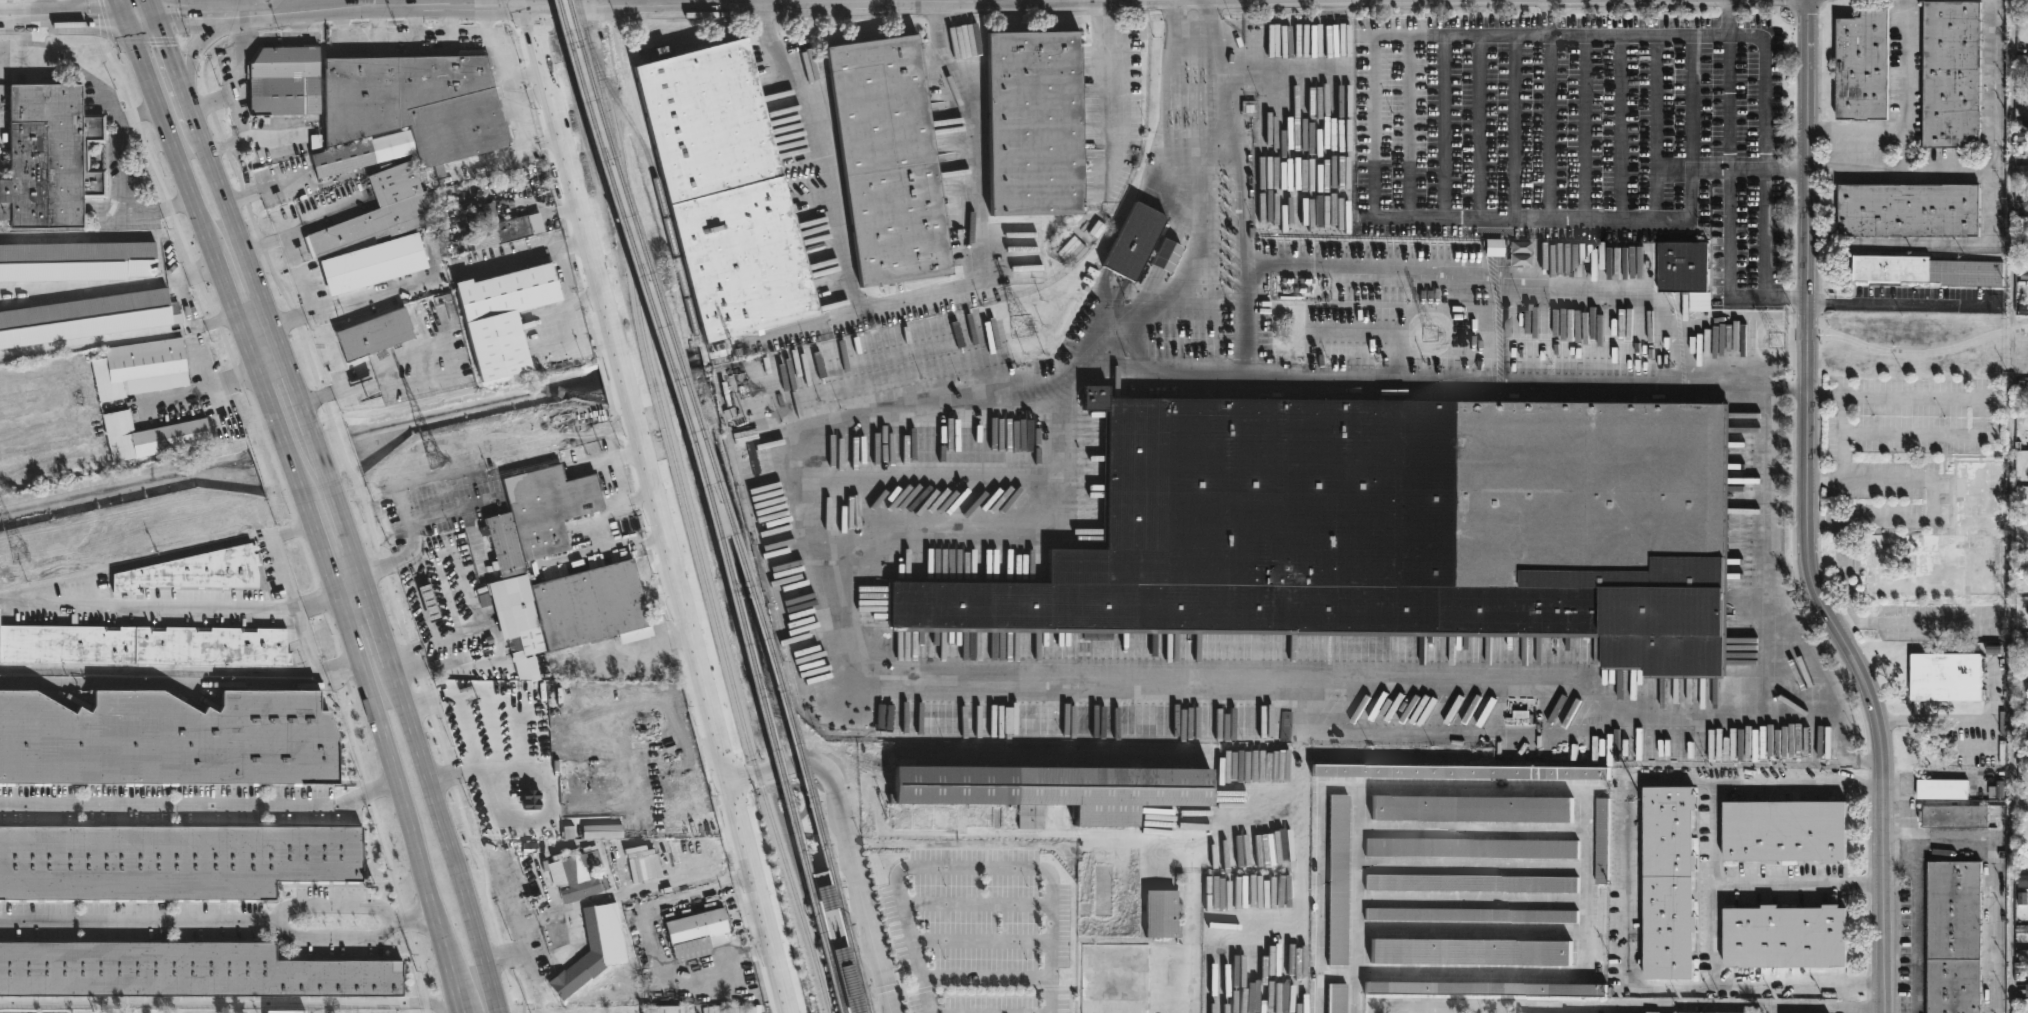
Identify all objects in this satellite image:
road: (756, 1)
road: (1826, 1)
road: (533, 2)
road: (219, 5)
traffic signals: (534, 5)
road: (418, 6)
road: (46, 7)
road: (76, 7)
road: (120, 7)
road: (150, 7)
road: (298, 9)
road: (223, 10)
traffic signals: (178, 13)
road: (76, 15)
traffic signals: (97, 15)
road: (1545, 16)
road: (105, 20)
road: (173, 20)
road: (487, 27)
road: (377, 28)
road: (452, 28)
road: (415, 29)
road: (214, 30)
road: (341, 30)
road: (145, 40)
traffic signals: (167, 48)
road: (190, 50)
road: (174, 65)
building: (1861, 65)
road: (524, 72)
building: (1954, 73)
road: (236, 79)
building: (282, 81)
road: (1114, 81)
road: (1763, 85)
road: (530, 99)
road: (1690, 100)
road: (1728, 100)
road: (212, 101)
building: (406, 111)
road: (1906, 112)
road: (160, 114)
road: (140, 115)
building: (1033, 123)
road: (1480, 125)
road: (1515, 125)
road: (1549, 125)
road: (1584, 125)
road: (1620, 125)
road: (1655, 125)
road: (1375, 126)
road: (1408, 126)
road: (1443, 126)
road: (121, 130)
road: (276, 135)
parking lot: (1567, 135)
road: (227, 143)
road: (1907, 146)
road: (521, 150)
building: (47, 156)
building: (887, 160)
road: (1899, 165)
road: (1673, 167)
road: (1820, 167)
road: (1344, 177)
road: (266, 189)
building: (723, 190)
building: (1910, 209)
road: (1988, 210)
building: (378, 212)
road: (1202, 212)
road: (231, 222)
building: (499, 229)
road: (1763, 231)
road: (180, 234)
road: (258, 239)
building: (1132, 244)
building: (1494, 247)
building: (1519, 253)
road: (295, 254)
building: (75, 261)
building: (379, 262)
road: (1728, 269)
building: (1928, 270)
building: (1685, 271)
road: (220, 276)
road: (562, 276)
road: (412, 285)
building: (1285, 290)
road: (589, 298)
road: (901, 299)
road: (186, 302)
road: (1898, 303)
building: (500, 316)
building: (86, 317)
road: (809, 322)
power tower: (1020, 328)
road: (256, 332)
building: (372, 334)
power tower: (1431, 335)
power tower: (1778, 341)
road: (556, 345)
road: (276, 347)
road: (1919, 353)
road: (250, 356)
building: (137, 368)
road: (270, 371)
railway: (656, 381)
road: (196, 390)
road: (1779, 390)
road: (635, 392)
power tower: (746, 392)
road: (293, 394)
road: (265, 399)
road: (1847, 422)
road: (305, 428)
building: (148, 437)
railway: (699, 438)
road: (337, 443)
road: (286, 452)
road: (316, 456)
power tower: (435, 461)
road: (273, 463)
road: (1819, 483)
road: (1930, 488)
railway: (706, 504)
road: (2011, 506)
road: (669, 507)
road: (1810, 514)
road: (1825, 520)
building: (533, 526)
building: (1390, 528)
road: (343, 531)
road: (291, 535)
road: (315, 538)
building: (1944, 546)
power tower: (19, 554)
road: (128, 564)
building: (193, 572)
road: (1843, 572)
road: (348, 590)
building: (448, 597)
gas station: (448, 597)
building: (430, 603)
gas station: (430, 603)
building: (590, 607)
road: (1914, 622)
road: (495, 641)
road: (380, 646)
road: (646, 646)
building: (143, 647)
building: (527, 649)
road: (405, 656)
road: (410, 672)
building: (1948, 678)
road: (182, 685)
road: (1571, 694)
road: (1841, 713)
road: (433, 718)
road: (1933, 720)
building: (169, 742)
road: (357, 754)
road: (383, 754)
building: (1461, 773)
railway: (758, 779)
building: (1942, 789)
building: (1053, 793)
road: (1905, 797)
road: (198, 808)
building: (1472, 809)
building: (1954, 816)
road: (1906, 831)
building: (1788, 833)
road: (846, 847)
building: (1471, 847)
road: (1949, 848)
road: (450, 859)
building: (170, 861)
railway: (819, 867)
road: (971, 868)
railway: (819, 869)
building: (578, 874)
building: (1337, 879)
road: (1800, 881)
building: (1470, 882)
building: (1602, 882)
building: (1671, 882)
road: (1713, 884)
road: (1625, 889)
road: (763, 897)
railway: (798, 905)
road: (977, 905)
building: (1160, 912)
building: (1471, 914)
building: (1106, 915)
road: (411, 917)
road: (138, 921)
road: (277, 922)
parking lot: (979, 931)
building: (696, 932)
building: (1788, 935)
building: (1956, 936)
road: (981, 942)
railway: (847, 945)
building: (1471, 950)
building: (590, 951)
road: (448, 963)
building: (182, 970)
building: (1114, 978)
road: (986, 979)
road: (1169, 987)
building: (1486, 987)
road: (520, 988)
building: (2027, 989)
building: (1336, 998)
road: (227, 1002)
road: (1627, 1006)
building: (662, 1009)
road: (1774, 1009)
road: (1848, 1009)
building: (283, 1012)
building: (1709, 1012)

